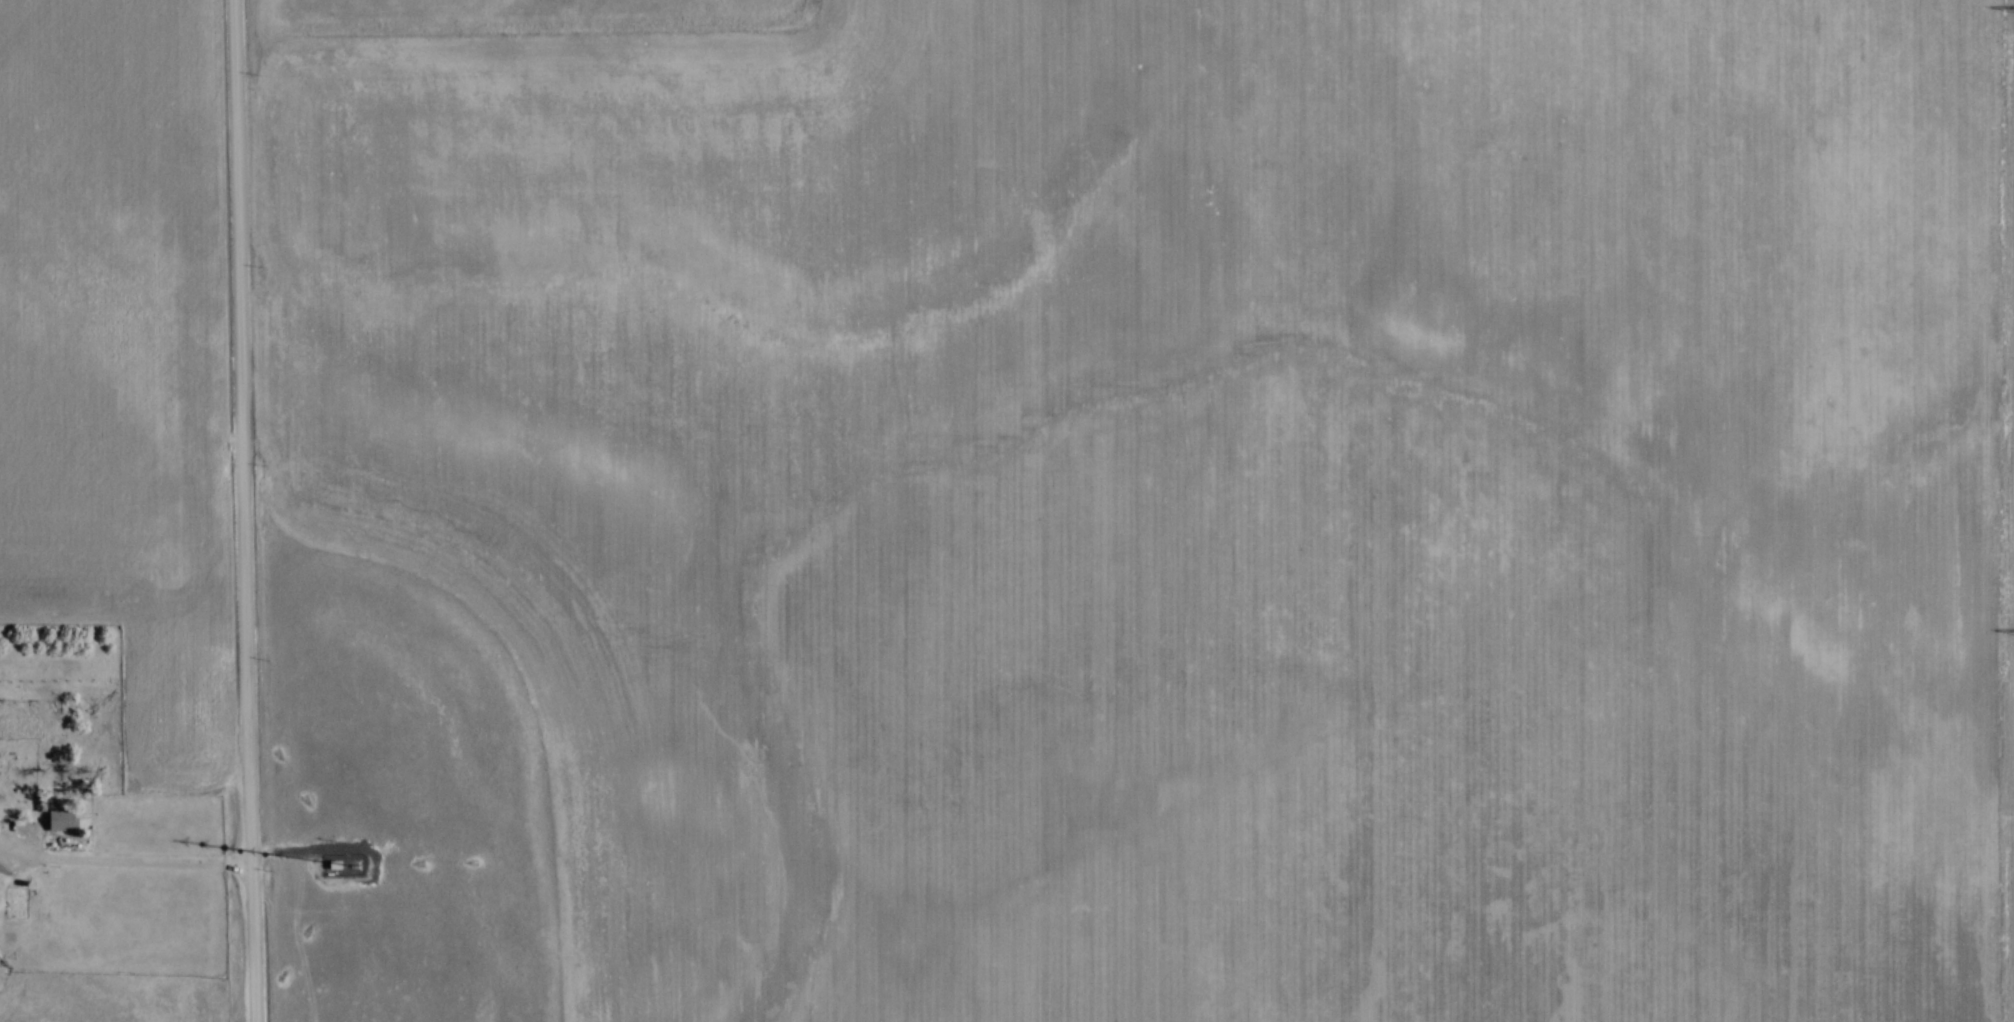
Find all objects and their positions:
crop: (113, 359)
crop: (1200, 494)
road: (242, 511)
building: (40, 802)
building: (57, 823)
road: (297, 848)
road: (121, 866)

